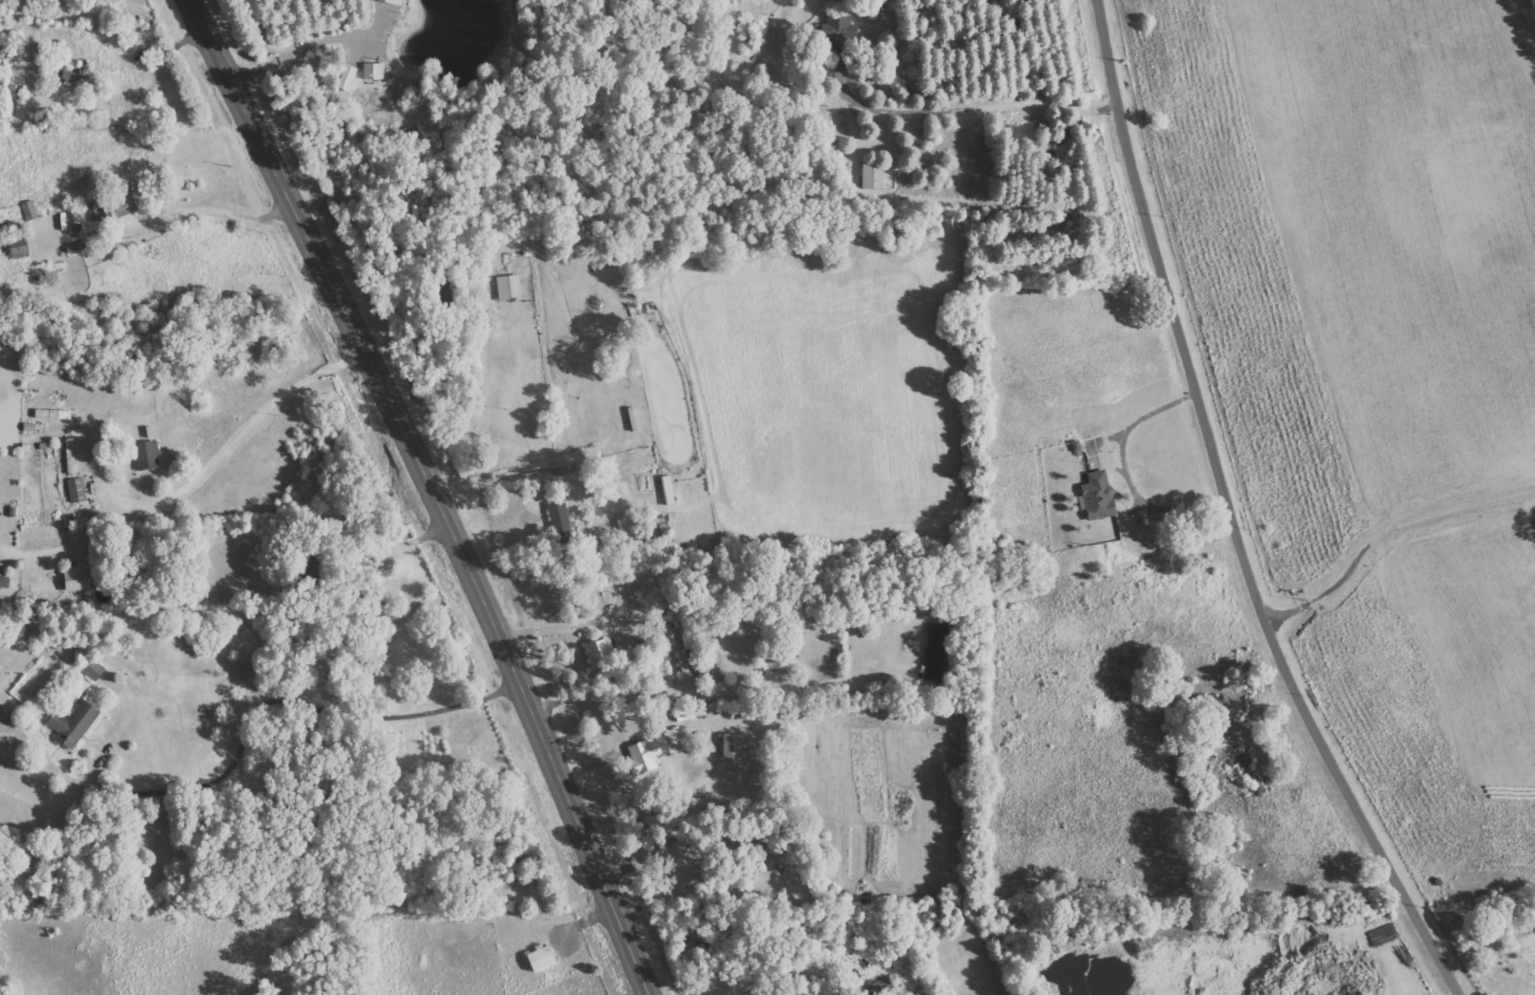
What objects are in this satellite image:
building: (395, 2)
building: (838, 34)
building: (375, 72)
building: (875, 177)
building: (96, 212)
building: (20, 247)
building: (77, 249)
building: (510, 289)
building: (55, 414)
building: (72, 456)
building: (149, 456)
building: (665, 491)
road: (432, 492)
building: (1095, 497)
road: (1229, 515)
building: (79, 578)
building: (5, 583)
building: (597, 653)
building: (684, 662)
building: (95, 670)
building: (75, 724)
building: (728, 750)
building: (537, 960)

